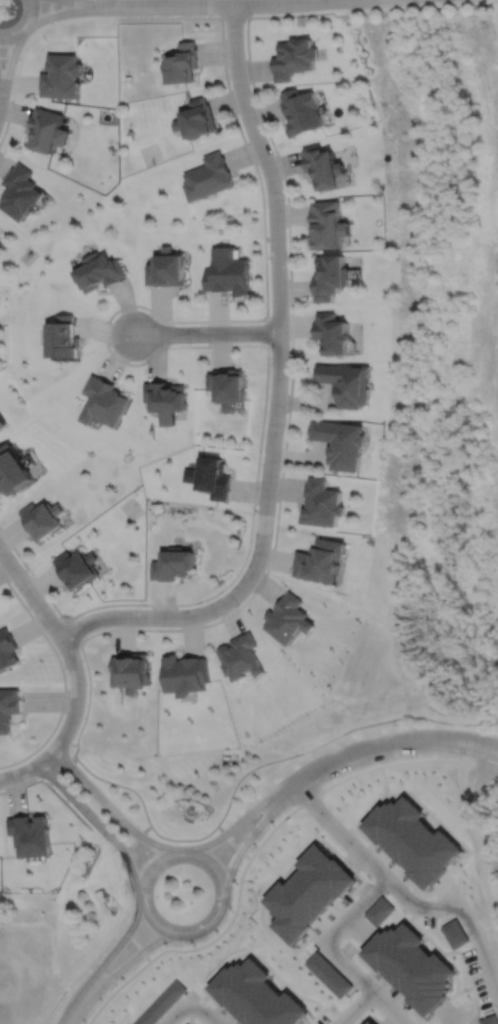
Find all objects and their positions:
road: (78, 3)
road: (211, 5)
road: (51, 13)
road: (61, 13)
road: (235, 17)
road: (27, 28)
road: (27, 46)
road: (11, 57)
building: (293, 60)
building: (182, 63)
road: (8, 68)
building: (60, 77)
building: (301, 112)
building: (196, 117)
building: (47, 129)
building: (323, 166)
road: (282, 172)
building: (208, 177)
building: (20, 191)
building: (327, 224)
building: (1, 235)
building: (166, 268)
building: (98, 272)
building: (228, 272)
building: (330, 277)
road: (206, 332)
road: (267, 332)
building: (332, 334)
building: (61, 338)
road: (105, 340)
building: (346, 384)
building: (227, 387)
road: (278, 393)
building: (165, 400)
building: (103, 402)
building: (2, 424)
building: (340, 444)
building: (11, 472)
building: (210, 478)
building: (320, 505)
building: (41, 521)
building: (319, 563)
building: (173, 565)
building: (76, 570)
road: (30, 572)
road: (71, 631)
road: (83, 638)
road: (64, 643)
building: (8, 649)
building: (130, 671)
building: (185, 673)
road: (62, 676)
building: (9, 708)
road: (476, 741)
road: (476, 749)
road: (359, 752)
road: (29, 768)
road: (239, 780)
road: (51, 788)
road: (108, 805)
road: (96, 821)
road: (233, 825)
building: (31, 834)
building: (414, 838)
road: (246, 842)
road: (220, 868)
building: (308, 891)
road: (403, 894)
building: (380, 911)
road: (226, 928)
building: (455, 933)
road: (113, 950)
road: (333, 951)
road: (128, 963)
building: (412, 965)
building: (329, 973)
building: (256, 995)
building: (159, 1003)
road: (53, 1005)
road: (73, 1006)
road: (389, 1007)
road: (178, 1010)
road: (205, 1010)
road: (458, 1016)
building: (489, 1020)
building: (370, 1022)

